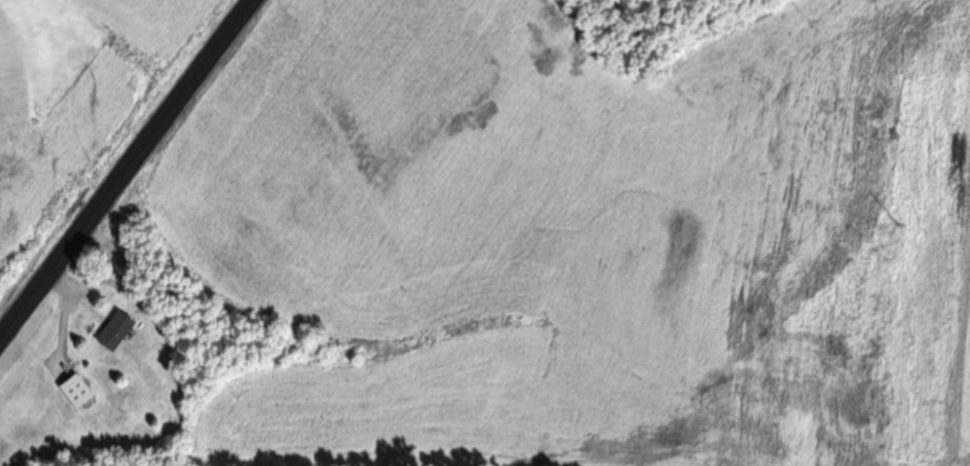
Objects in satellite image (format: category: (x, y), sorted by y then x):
road: (128, 168)
building: (112, 336)
building: (73, 395)

